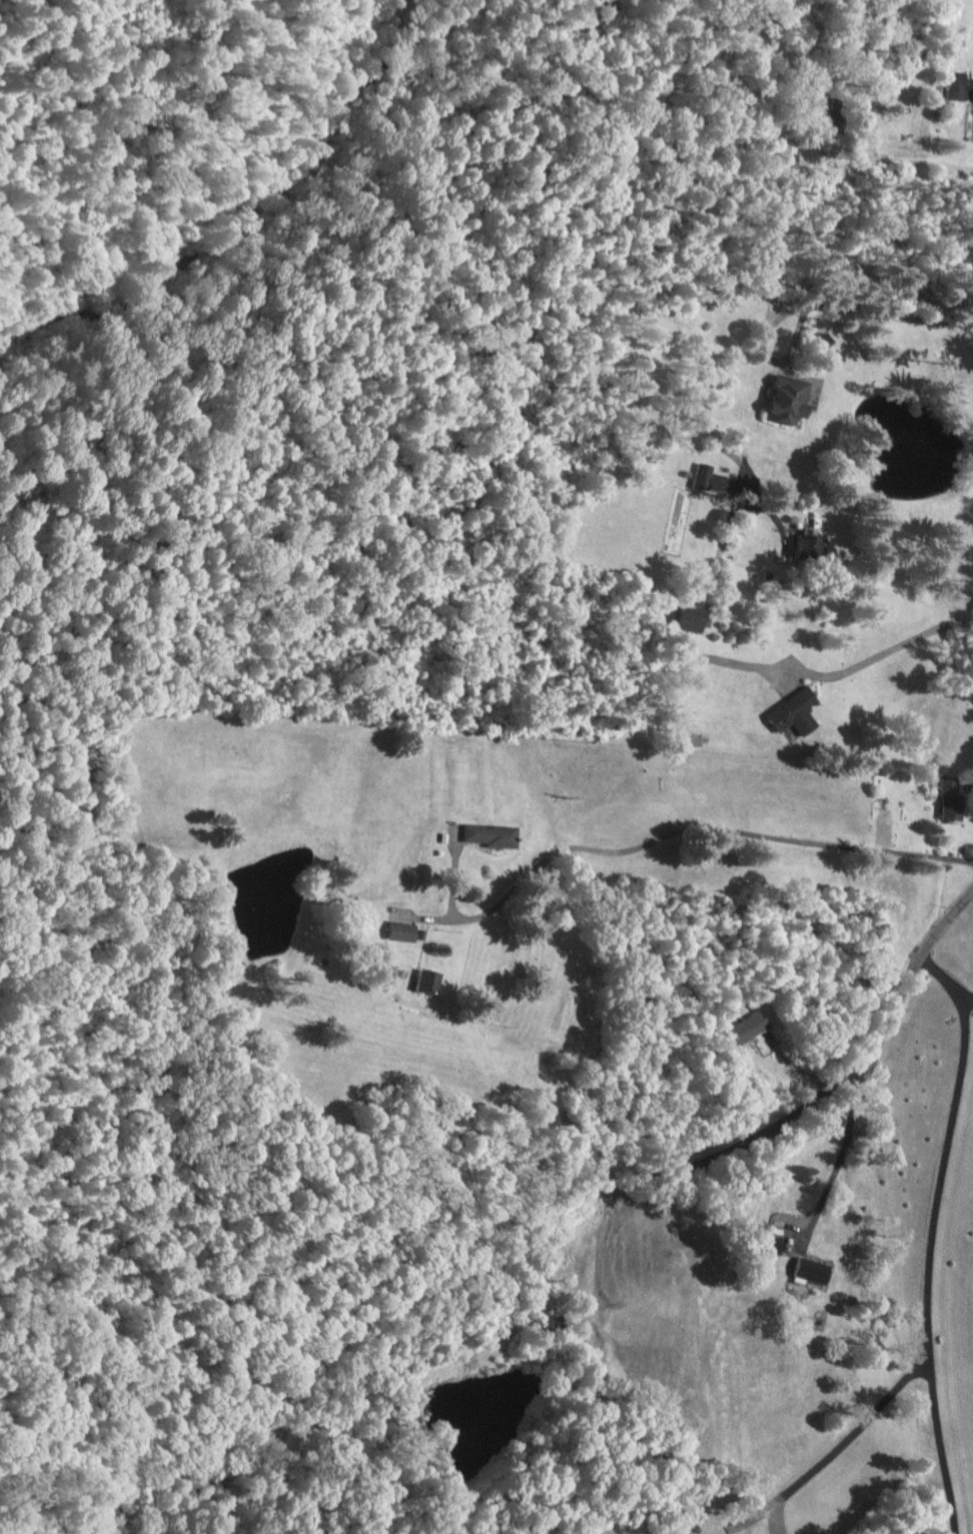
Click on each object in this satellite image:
building: (954, 86)
road: (894, 178)
road: (780, 312)
building: (787, 399)
building: (709, 479)
building: (802, 544)
road: (882, 652)
building: (792, 713)
building: (949, 800)
road: (699, 824)
building: (488, 834)
building: (426, 980)
road: (967, 1000)
building: (746, 1028)
road: (837, 1085)
road: (832, 1171)
road: (931, 1236)
road: (602, 1244)
building: (811, 1270)
road: (853, 1430)

